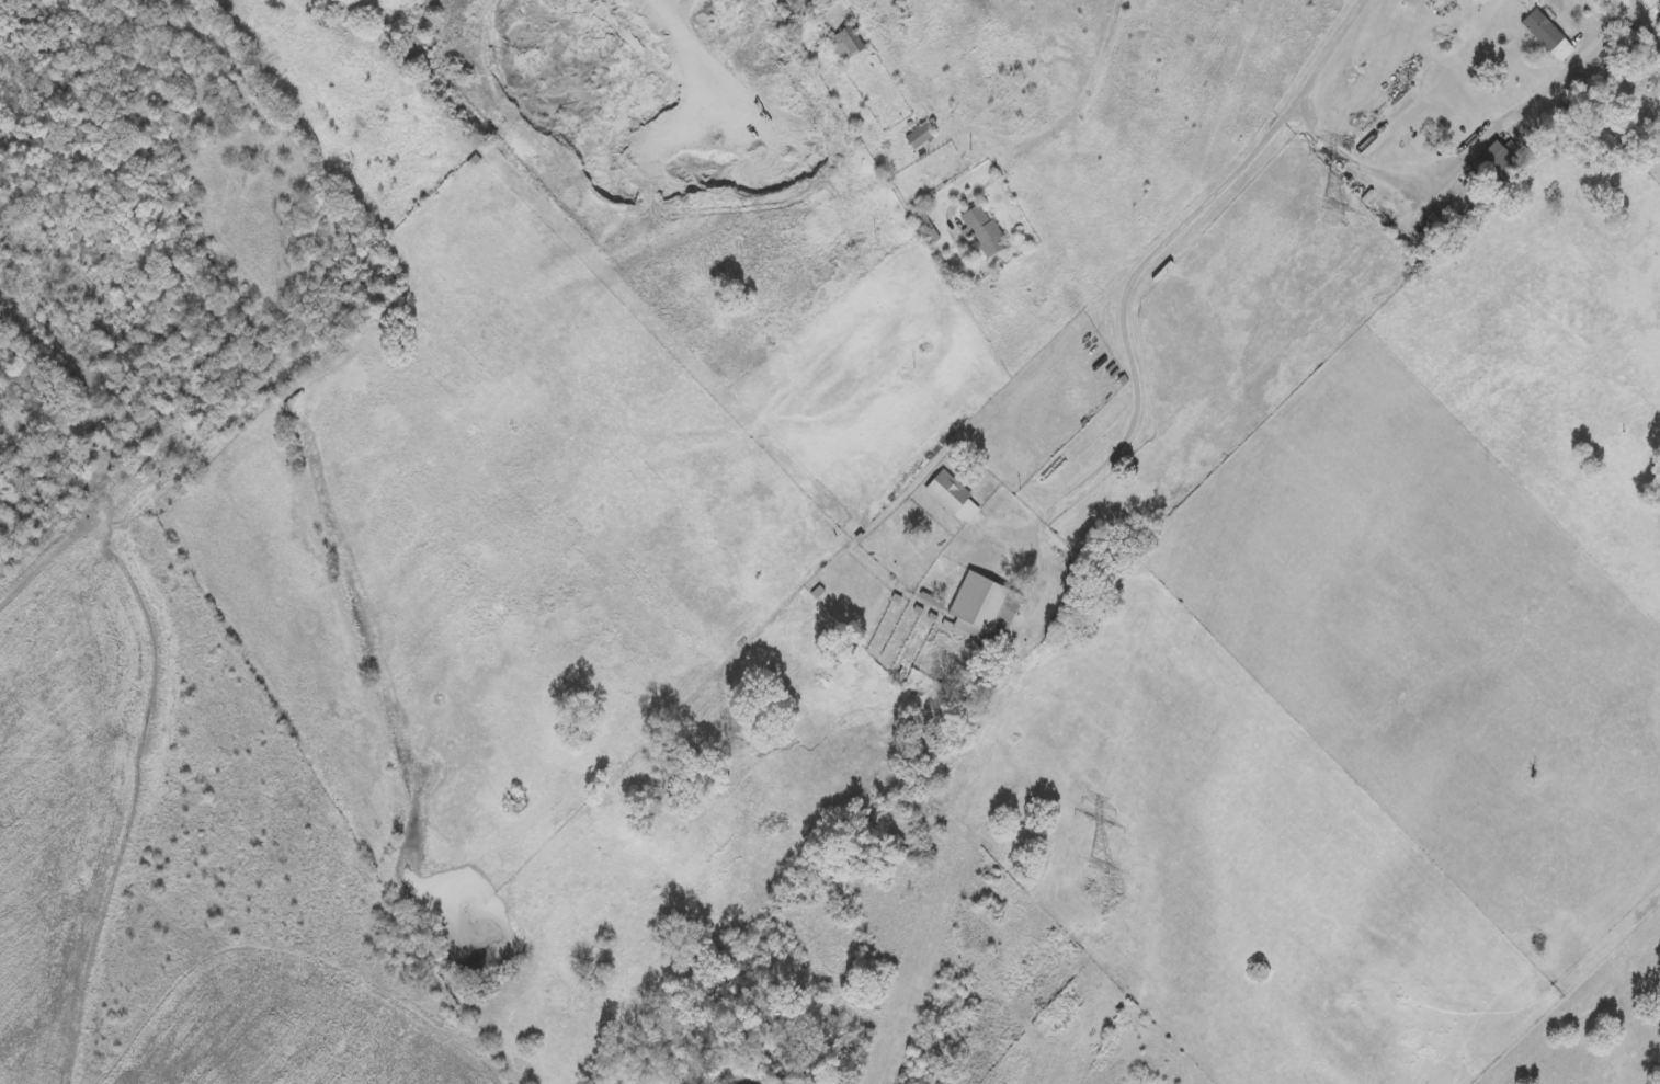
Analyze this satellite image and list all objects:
building: (1652, 4)
road: (1634, 5)
building: (1546, 33)
building: (844, 42)
road: (1332, 49)
road: (1012, 137)
road: (1473, 146)
road: (1001, 171)
road: (1186, 219)
building: (985, 227)
power tower: (1322, 228)
road: (1117, 354)
building: (946, 490)
building: (981, 606)
power tower: (1093, 886)

